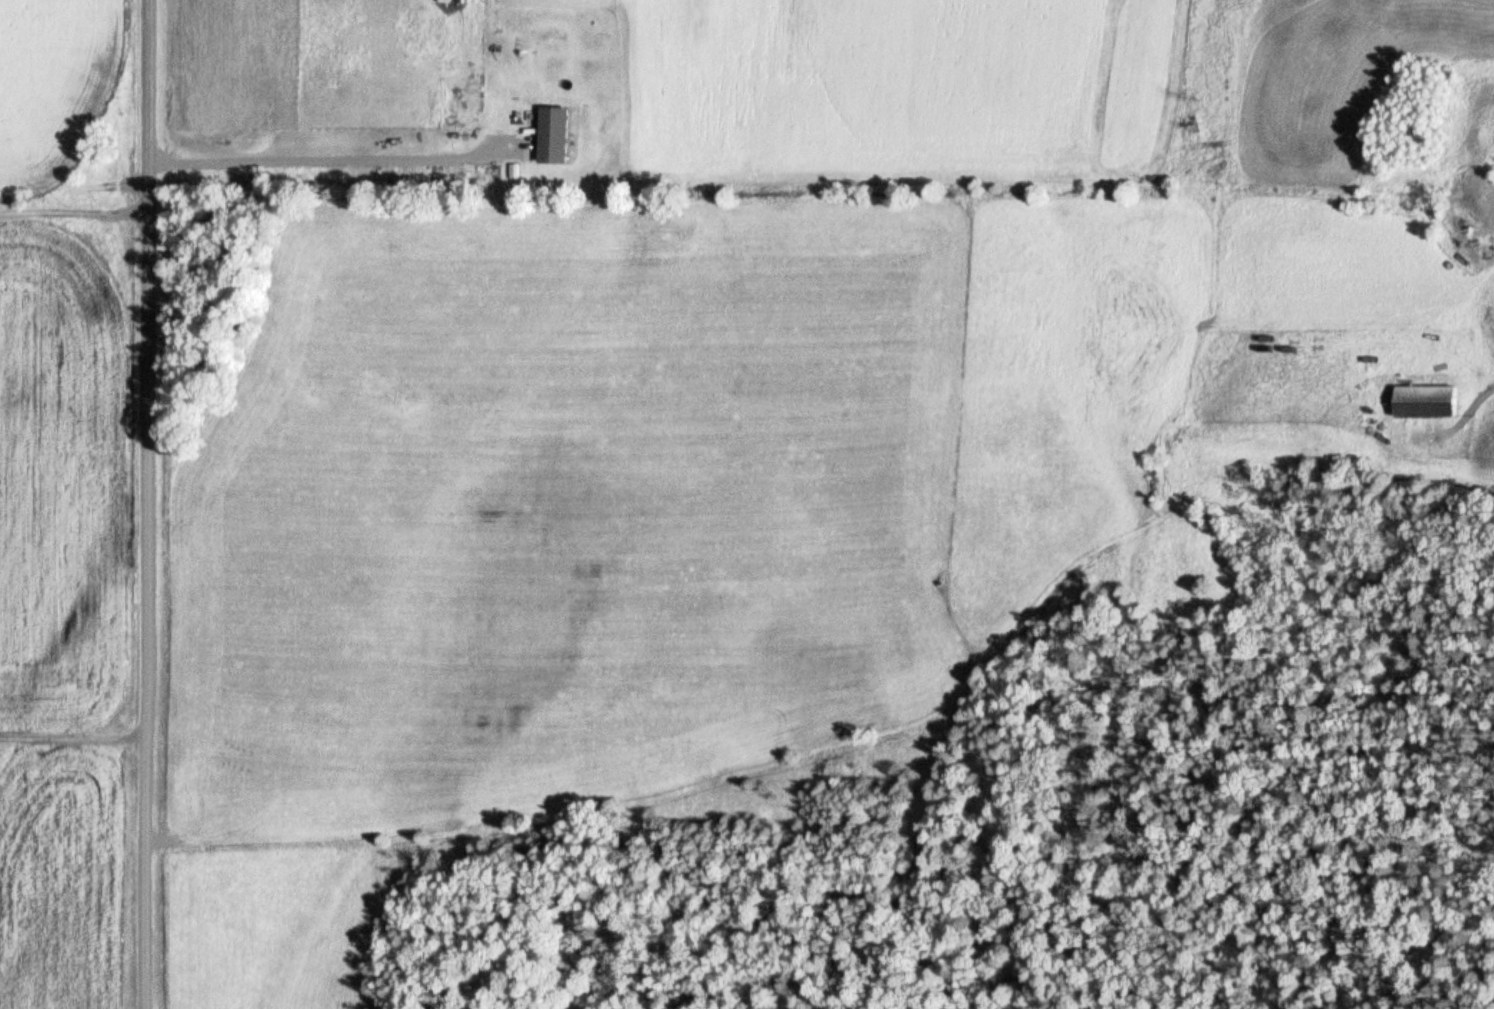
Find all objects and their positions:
building: (555, 136)
road: (333, 162)
building: (1426, 403)
road: (141, 504)
road: (70, 658)
road: (71, 740)

